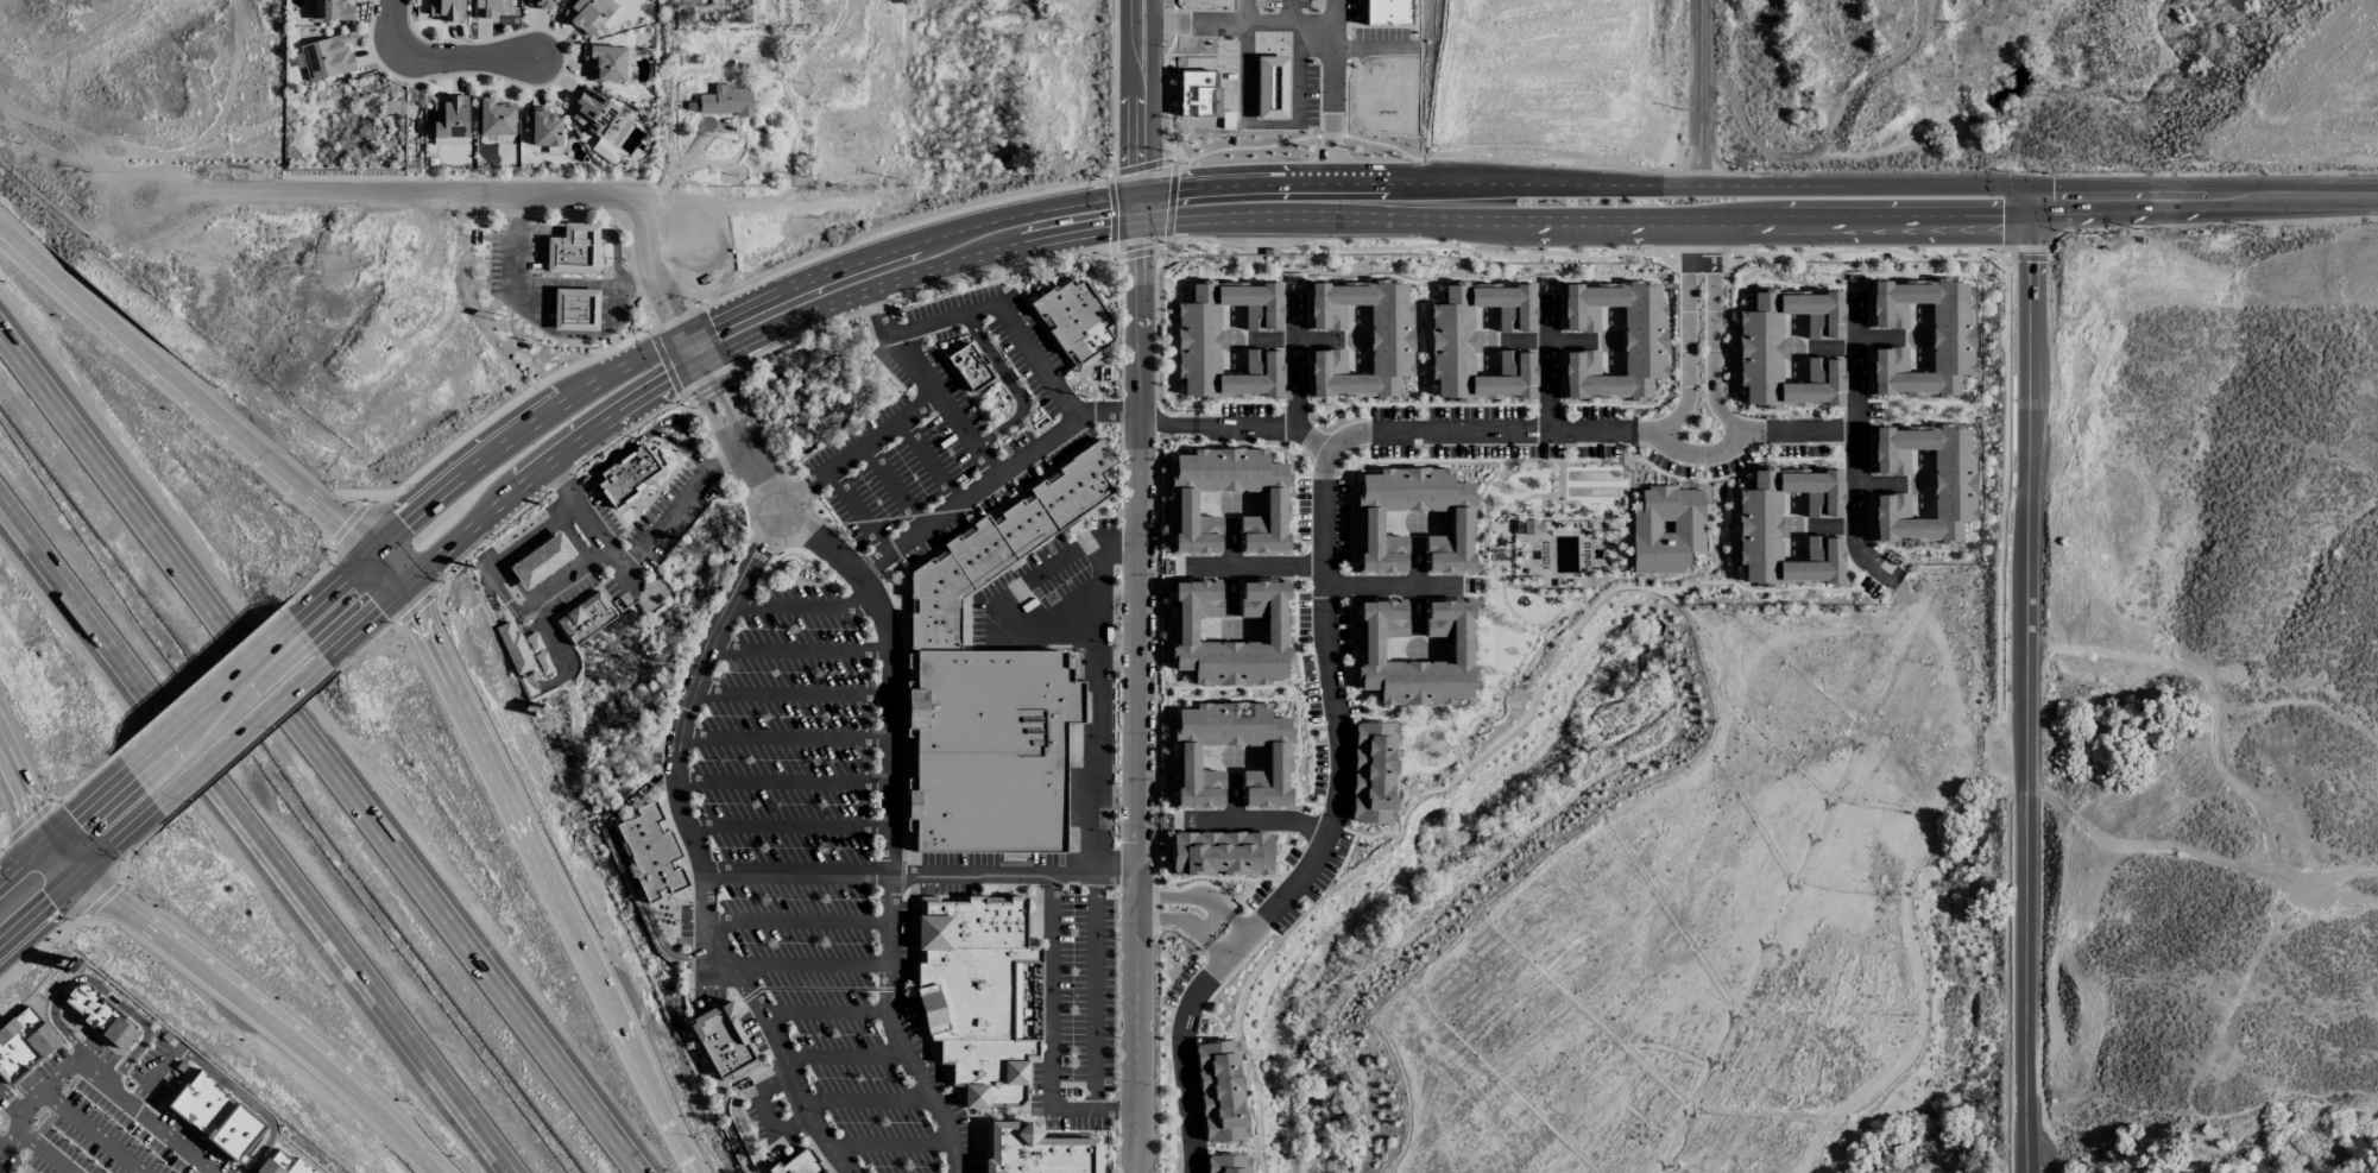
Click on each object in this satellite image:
building: (538, 4)
building: (488, 8)
building: (328, 10)
building: (446, 10)
building: (588, 14)
road: (1229, 24)
road: (392, 26)
building: (324, 57)
road: (469, 59)
building: (606, 63)
road: (1116, 81)
road: (1329, 93)
road: (1702, 93)
road: (1134, 97)
building: (725, 101)
building: (592, 113)
building: (494, 116)
road: (415, 118)
building: (449, 119)
building: (543, 128)
road: (679, 162)
road: (462, 178)
road: (1098, 182)
road: (1587, 185)
road: (2206, 187)
traffic signals: (1141, 195)
road: (492, 196)
road: (2035, 201)
road: (617, 210)
road: (1141, 210)
road: (2206, 210)
road: (526, 213)
road: (1588, 221)
road: (898, 228)
road: (540, 229)
road: (580, 229)
road: (907, 244)
building: (573, 248)
road: (614, 252)
parking lot: (517, 259)
road: (545, 267)
road: (635, 272)
road: (916, 276)
road: (543, 285)
road: (713, 305)
building: (574, 308)
road: (670, 314)
building: (1074, 321)
building: (1951, 338)
road: (642, 339)
building: (1197, 340)
building: (1390, 340)
building: (1450, 341)
building: (1644, 341)
building: (1758, 348)
traffic signals: (695, 349)
road: (1701, 355)
road: (1033, 357)
road: (666, 366)
road: (1550, 367)
building: (970, 370)
road: (1016, 386)
road: (1297, 390)
road: (185, 391)
road: (512, 405)
road: (694, 406)
road: (1855, 409)
road: (910, 412)
road: (1109, 414)
road: (677, 421)
road: (1167, 421)
road: (701, 422)
road: (1245, 424)
road: (1733, 427)
road: (734, 433)
road: (641, 440)
road: (658, 448)
road: (688, 450)
road: (479, 460)
road: (929, 462)
building: (626, 477)
road: (554, 484)
building: (1953, 484)
road: (655, 485)
road: (894, 487)
road: (400, 493)
road: (970, 496)
road: (504, 498)
road: (606, 503)
building: (1275, 504)
road: (680, 505)
road: (645, 509)
road: (1856, 511)
road: (859, 513)
road: (654, 518)
road: (348, 523)
road: (589, 523)
building: (1369, 523)
building: (1532, 526)
building: (1756, 526)
building: (1666, 529)
parking lot: (644, 536)
traffic signals: (370, 553)
building: (542, 562)
gas station: (542, 562)
road: (1259, 566)
road: (330, 567)
road: (385, 569)
road: (505, 582)
road: (307, 585)
road: (1392, 585)
traffic signals: (400, 587)
road: (611, 598)
road: (807, 605)
road: (417, 606)
road: (437, 616)
building: (586, 618)
road: (386, 623)
building: (1184, 629)
road: (364, 648)
building: (516, 649)
building: (1461, 649)
road: (802, 650)
road: (200, 680)
road: (529, 681)
road: (1331, 683)
building: (995, 689)
road: (793, 692)
road: (2036, 693)
road: (212, 696)
road: (1137, 700)
road: (236, 730)
road: (784, 738)
road: (251, 745)
building: (1186, 757)
road: (318, 758)
building: (1373, 772)
road: (88, 777)
road: (784, 782)
road: (62, 802)
road: (89, 806)
road: (1096, 809)
road: (30, 819)
road: (27, 821)
road: (1263, 822)
road: (789, 827)
road: (7, 832)
road: (146, 837)
road: (254, 837)
road: (115, 838)
traffic signals: (50, 840)
road: (130, 852)
building: (1220, 853)
building: (652, 854)
road: (537, 860)
road: (25, 862)
traffic signals: (78, 871)
road: (1013, 876)
road: (631, 877)
road: (809, 877)
road: (103, 900)
road: (39, 906)
road: (1180, 909)
road: (107, 920)
road: (797, 921)
road: (1226, 939)
road: (29, 953)
road: (810, 965)
road: (102, 989)
road: (1053, 991)
building: (978, 996)
building: (94, 1009)
road: (265, 1014)
road: (827, 1014)
road: (770, 1027)
road: (896, 1032)
building: (23, 1042)
building: (724, 1042)
road: (847, 1058)
road: (149, 1077)
road: (775, 1085)
building: (1219, 1091)
road: (116, 1092)
road: (868, 1101)
road: (11, 1105)
road: (1093, 1108)
building: (216, 1116)
road: (19, 1117)
road: (742, 1127)
road: (772, 1129)
road: (90, 1130)
road: (892, 1144)
road: (2, 1148)
road: (5, 1148)
road: (2358, 1153)
road: (685, 1154)
building: (1037, 1154)
road: (39, 1155)
building: (800, 1163)
building: (1225, 1163)
building: (284, 1165)

